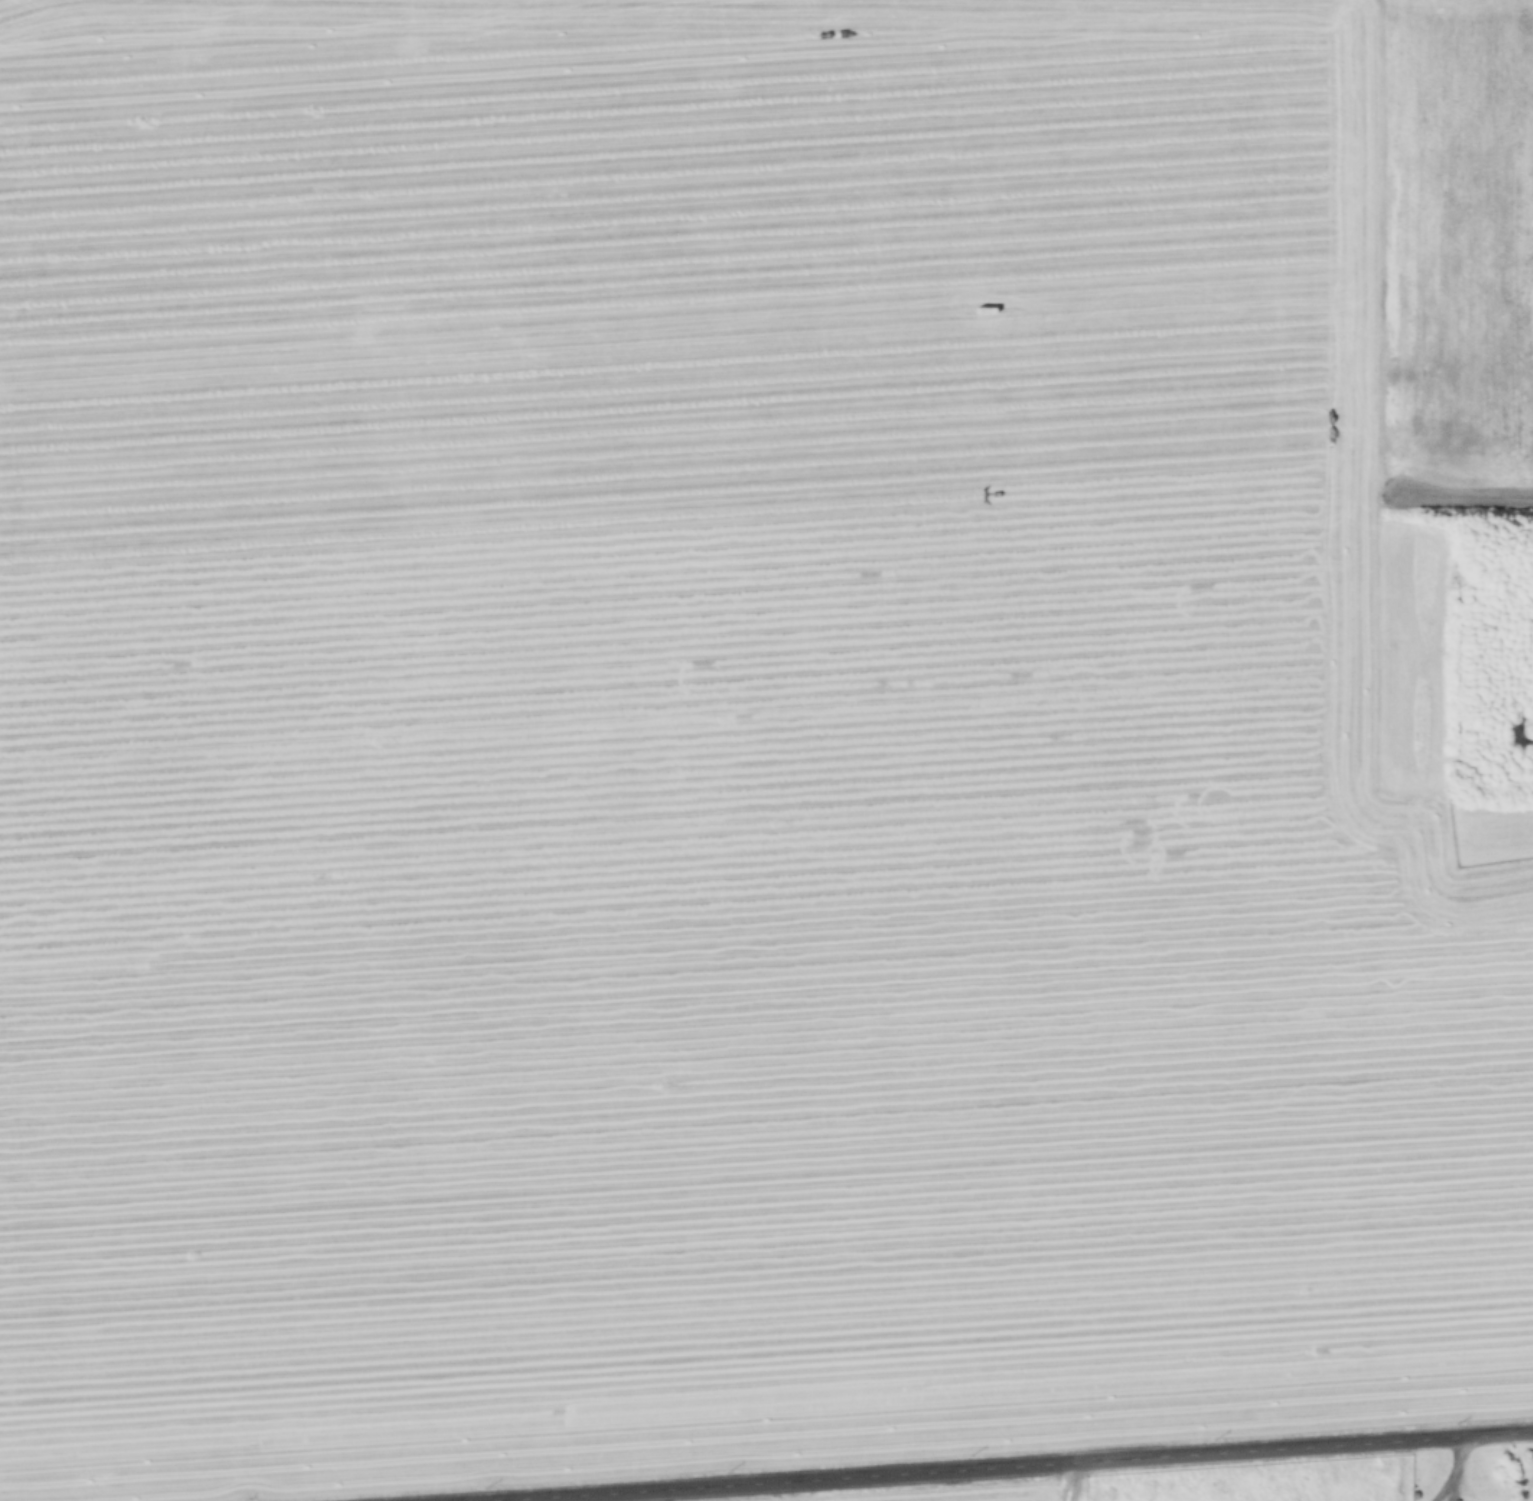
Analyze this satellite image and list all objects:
road: (1468, 498)
crop: (757, 738)
building: (1429, 1460)
road: (970, 1461)
road: (1445, 1468)
road: (1067, 1478)

